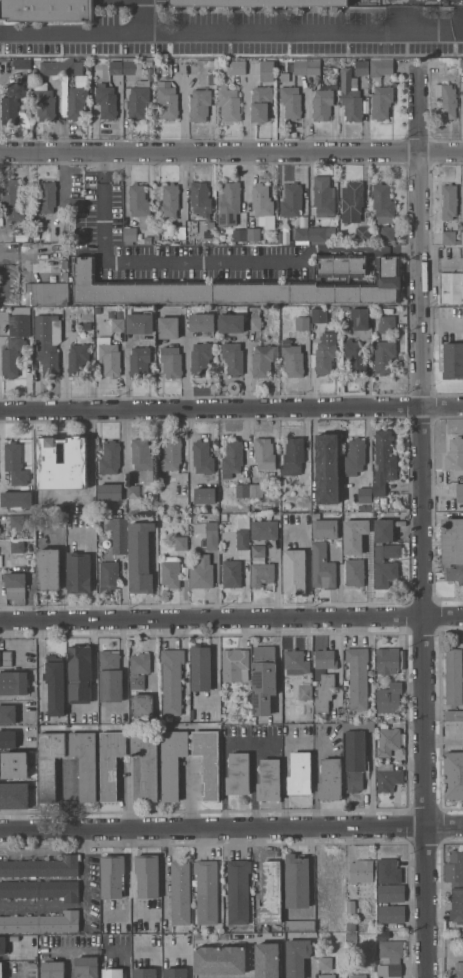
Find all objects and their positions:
building: (259, 3)
building: (51, 10)
road: (409, 15)
road: (138, 17)
road: (231, 34)
building: (149, 61)
building: (200, 63)
building: (21, 64)
building: (462, 65)
building: (71, 66)
building: (128, 66)
building: (381, 66)
building: (115, 67)
building: (235, 67)
building: (307, 67)
building: (361, 67)
building: (50, 68)
building: (138, 70)
building: (266, 71)
building: (211, 78)
building: (80, 80)
building: (327, 80)
building: (350, 95)
building: (447, 99)
building: (138, 100)
building: (167, 100)
building: (106, 101)
building: (44, 102)
building: (76, 102)
building: (291, 102)
building: (381, 102)
building: (11, 103)
building: (261, 103)
building: (199, 104)
building: (229, 104)
building: (322, 105)
road: (231, 151)
road: (103, 169)
building: (104, 183)
building: (323, 196)
building: (46, 197)
building: (200, 198)
building: (11, 199)
building: (169, 200)
building: (292, 200)
building: (449, 201)
building: (352, 202)
building: (229, 204)
building: (263, 204)
building: (383, 204)
building: (140, 205)
building: (322, 233)
building: (387, 233)
building: (130, 234)
building: (239, 234)
building: (254, 234)
building: (301, 235)
building: (362, 235)
building: (449, 237)
building: (157, 238)
building: (147, 240)
building: (344, 240)
road: (356, 252)
road: (163, 262)
road: (442, 265)
building: (343, 267)
building: (65, 276)
building: (451, 287)
building: (233, 288)
building: (48, 294)
building: (345, 308)
building: (29, 309)
building: (312, 312)
building: (360, 318)
building: (255, 319)
building: (202, 321)
building: (232, 322)
building: (388, 322)
building: (140, 323)
building: (302, 323)
building: (118, 324)
building: (87, 326)
building: (168, 327)
building: (14, 341)
building: (46, 345)
building: (355, 354)
building: (108, 356)
building: (384, 356)
building: (324, 357)
building: (200, 358)
building: (233, 358)
building: (77, 359)
building: (292, 359)
building: (264, 360)
building: (453, 360)
building: (139, 362)
building: (171, 362)
road: (186, 367)
road: (231, 409)
road: (0, 447)
building: (264, 453)
building: (171, 454)
building: (454, 455)
building: (293, 456)
building: (355, 456)
building: (202, 457)
building: (233, 457)
building: (110, 458)
building: (143, 460)
building: (384, 461)
building: (62, 463)
building: (15, 464)
building: (327, 468)
road: (93, 478)
building: (242, 490)
building: (255, 490)
building: (110, 492)
building: (459, 492)
building: (365, 494)
building: (204, 495)
building: (133, 497)
building: (15, 500)
building: (362, 507)
building: (369, 507)
building: (246, 508)
building: (17, 522)
building: (241, 522)
road: (422, 527)
building: (264, 529)
building: (325, 529)
building: (118, 535)
building: (211, 535)
building: (242, 539)
building: (365, 541)
building: (181, 543)
building: (17, 547)
building: (347, 548)
building: (453, 548)
building: (258, 551)
building: (385, 554)
building: (139, 557)
building: (322, 566)
building: (48, 569)
building: (354, 569)
building: (294, 571)
building: (170, 572)
building: (201, 572)
building: (78, 573)
building: (232, 573)
building: (262, 573)
building: (108, 576)
building: (15, 585)
road: (231, 619)
building: (5, 659)
building: (325, 659)
building: (387, 661)
building: (296, 662)
building: (235, 665)
building: (201, 668)
building: (139, 669)
building: (79, 673)
building: (110, 676)
building: (453, 676)
building: (357, 677)
building: (263, 679)
building: (172, 680)
building: (13, 683)
building: (55, 685)
building: (305, 692)
building: (324, 692)
building: (389, 698)
building: (144, 704)
building: (8, 714)
building: (453, 715)
building: (146, 720)
building: (8, 739)
building: (388, 741)
building: (7, 756)
building: (355, 760)
building: (208, 761)
building: (110, 762)
building: (146, 762)
building: (172, 762)
building: (85, 763)
building: (49, 764)
road: (223, 771)
road: (284, 772)
building: (300, 773)
building: (238, 774)
road: (253, 775)
building: (453, 775)
building: (389, 776)
building: (269, 780)
building: (330, 780)
building: (14, 795)
road: (68, 797)
road: (231, 830)
building: (42, 867)
building: (454, 868)
building: (361, 871)
building: (389, 871)
building: (331, 872)
building: (112, 875)
building: (147, 875)
road: (88, 878)
building: (297, 881)
building: (41, 890)
building: (206, 891)
building: (238, 891)
building: (180, 893)
building: (270, 893)
building: (391, 893)
building: (457, 905)
building: (351, 907)
building: (391, 914)
building: (41, 923)
building: (300, 926)
building: (351, 926)
building: (461, 934)
building: (352, 938)
building: (3, 946)
building: (297, 957)
building: (390, 957)
road: (250, 958)
building: (220, 960)
building: (267, 960)
road: (69, 962)
building: (325, 963)
building: (87, 967)
building: (53, 969)
building: (459, 970)
building: (1, 973)
building: (113, 973)
building: (144, 973)
building: (175, 973)
building: (326, 976)
building: (357, 976)

